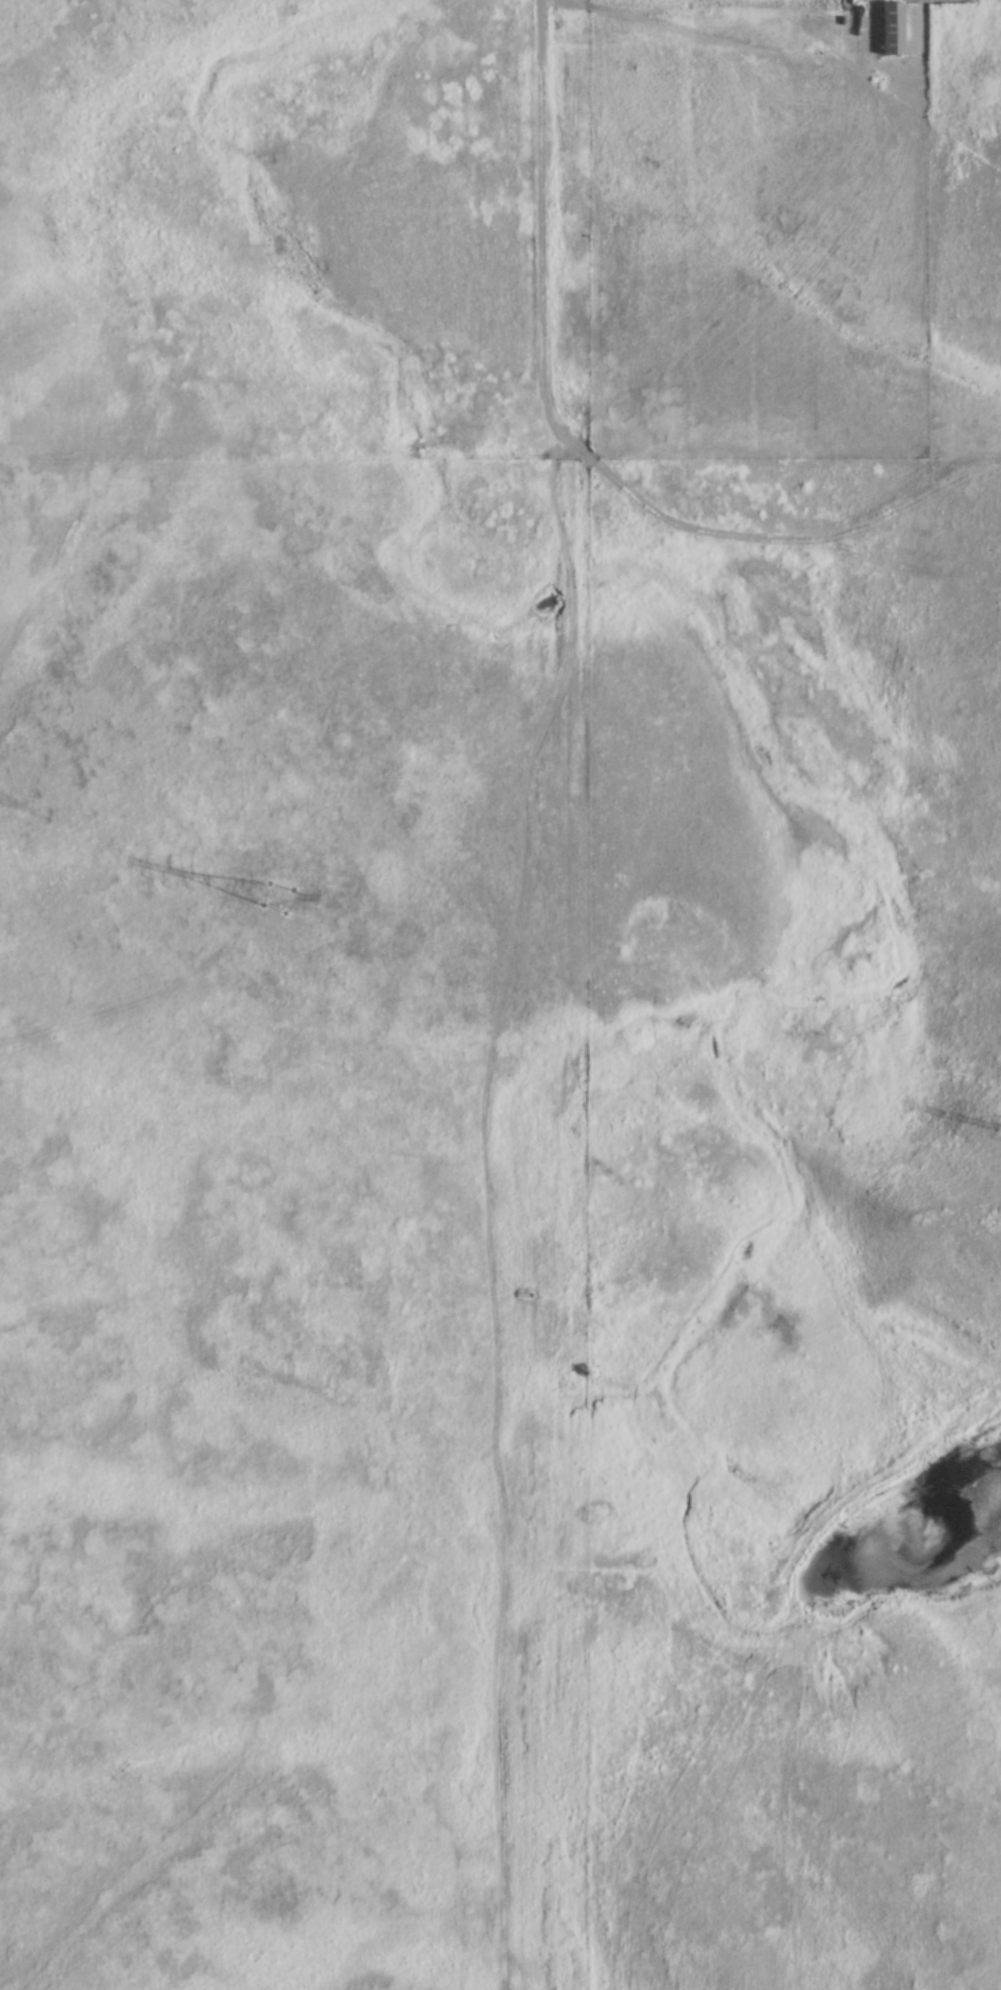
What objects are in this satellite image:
building: (889, 30)
road: (541, 227)
power tower: (276, 899)

